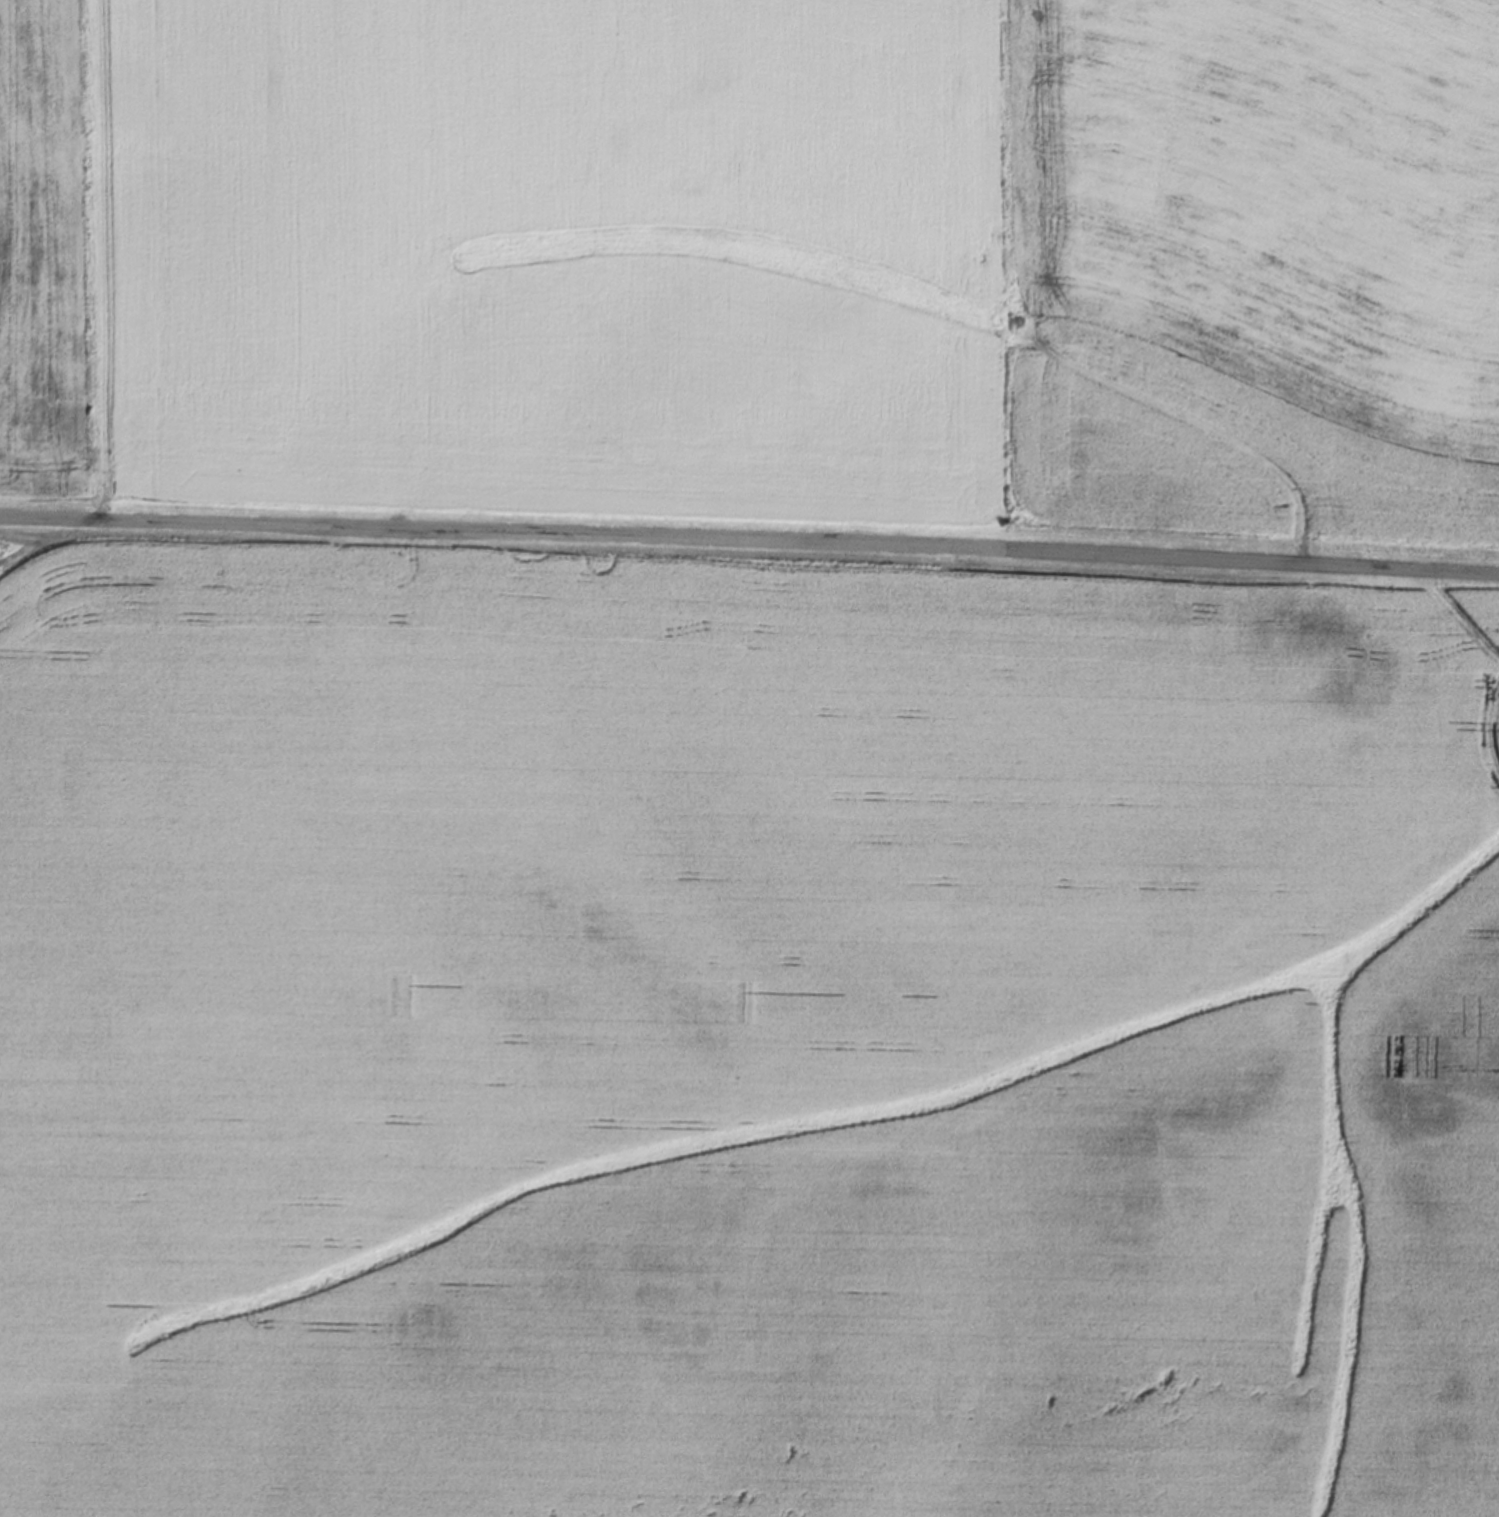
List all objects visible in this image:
road: (749, 542)

